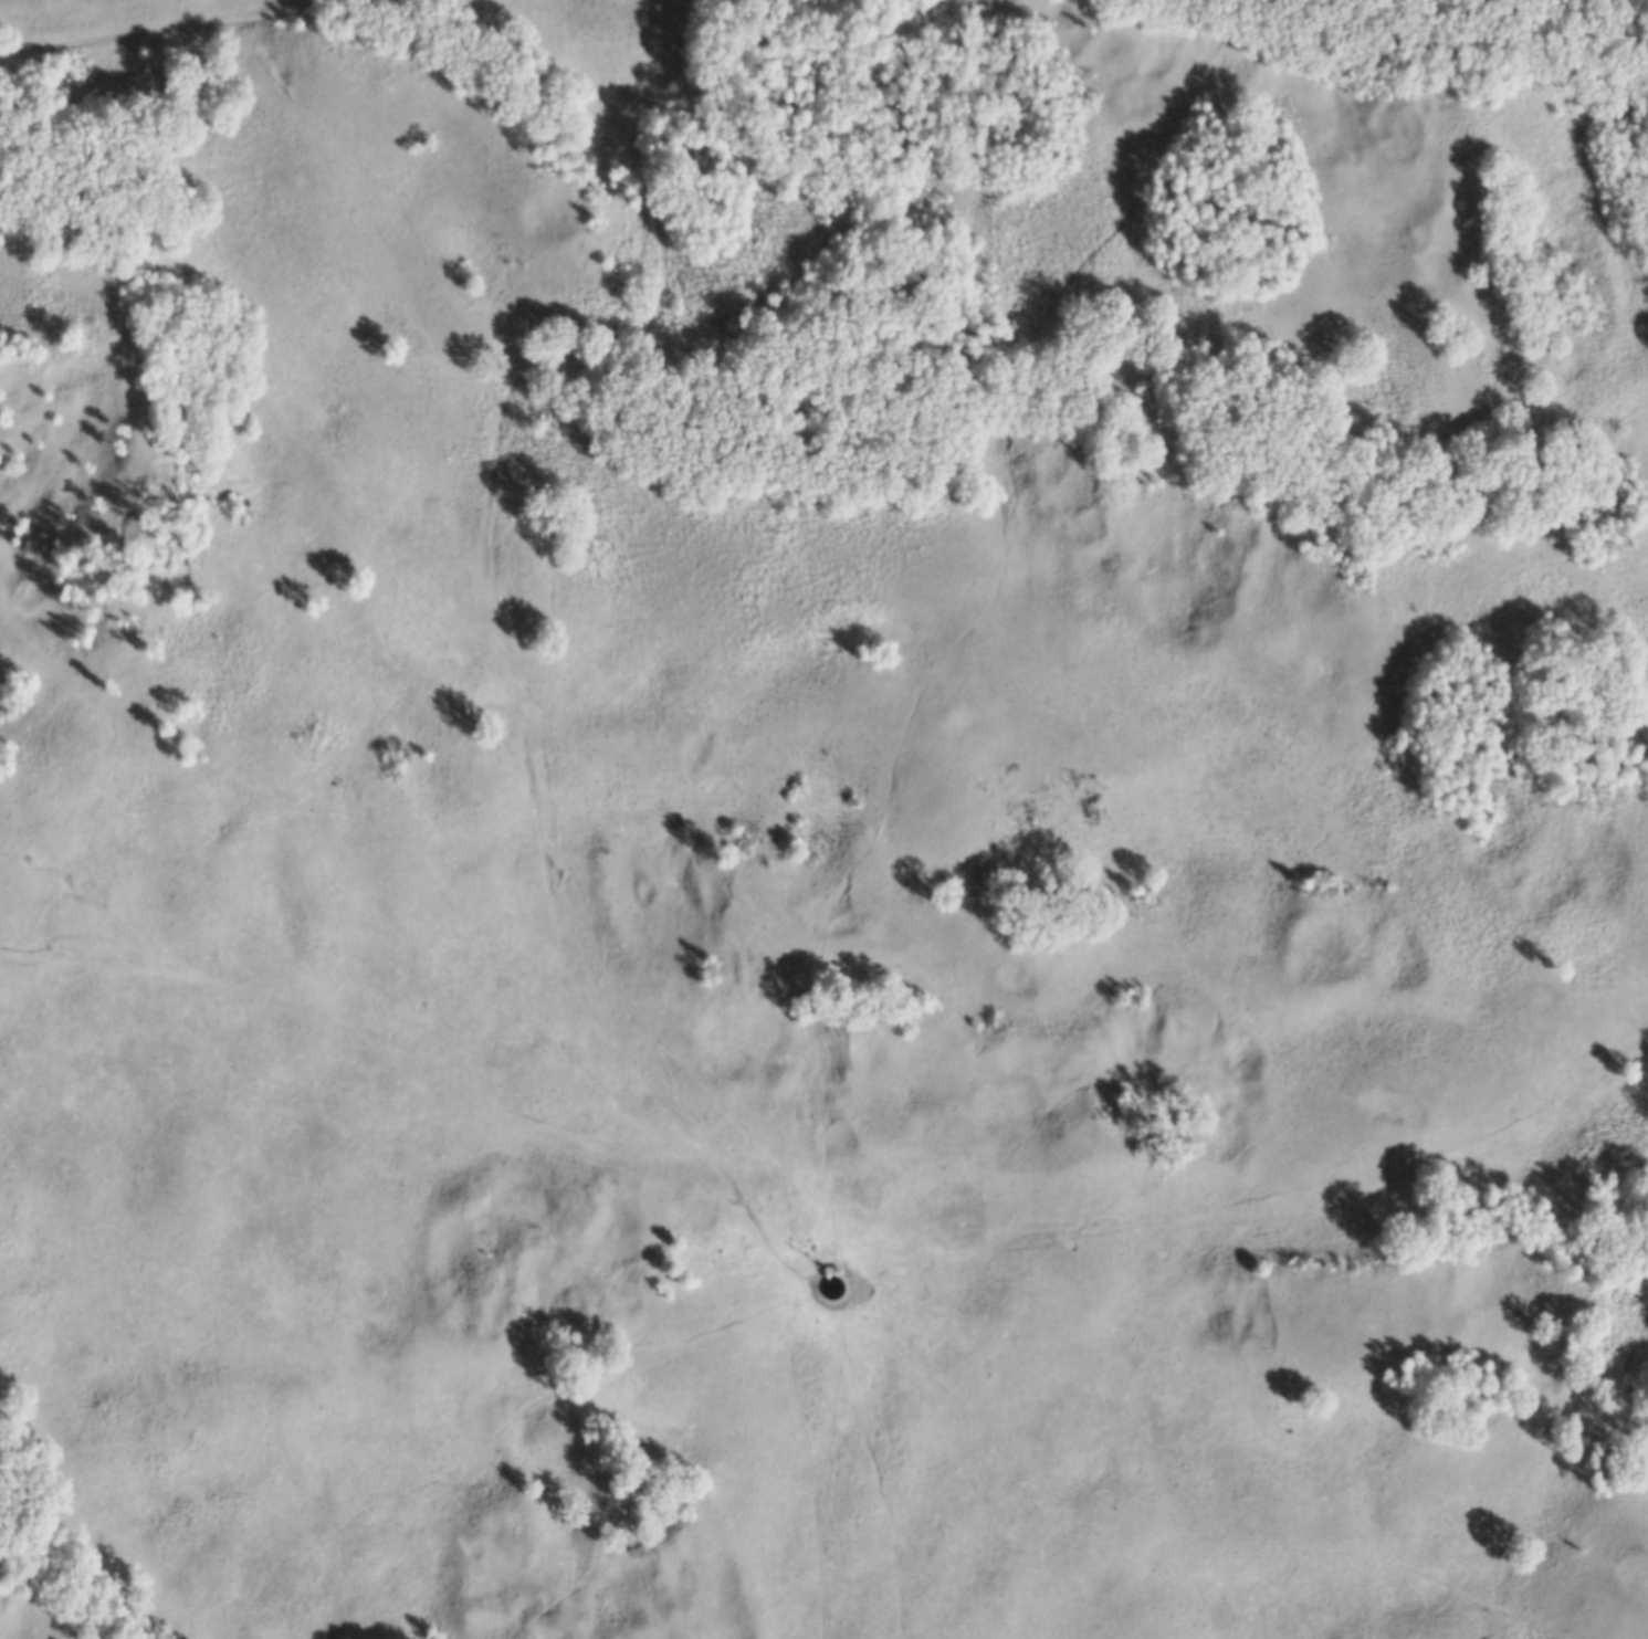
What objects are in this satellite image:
road: (164, 33)
road: (532, 776)

